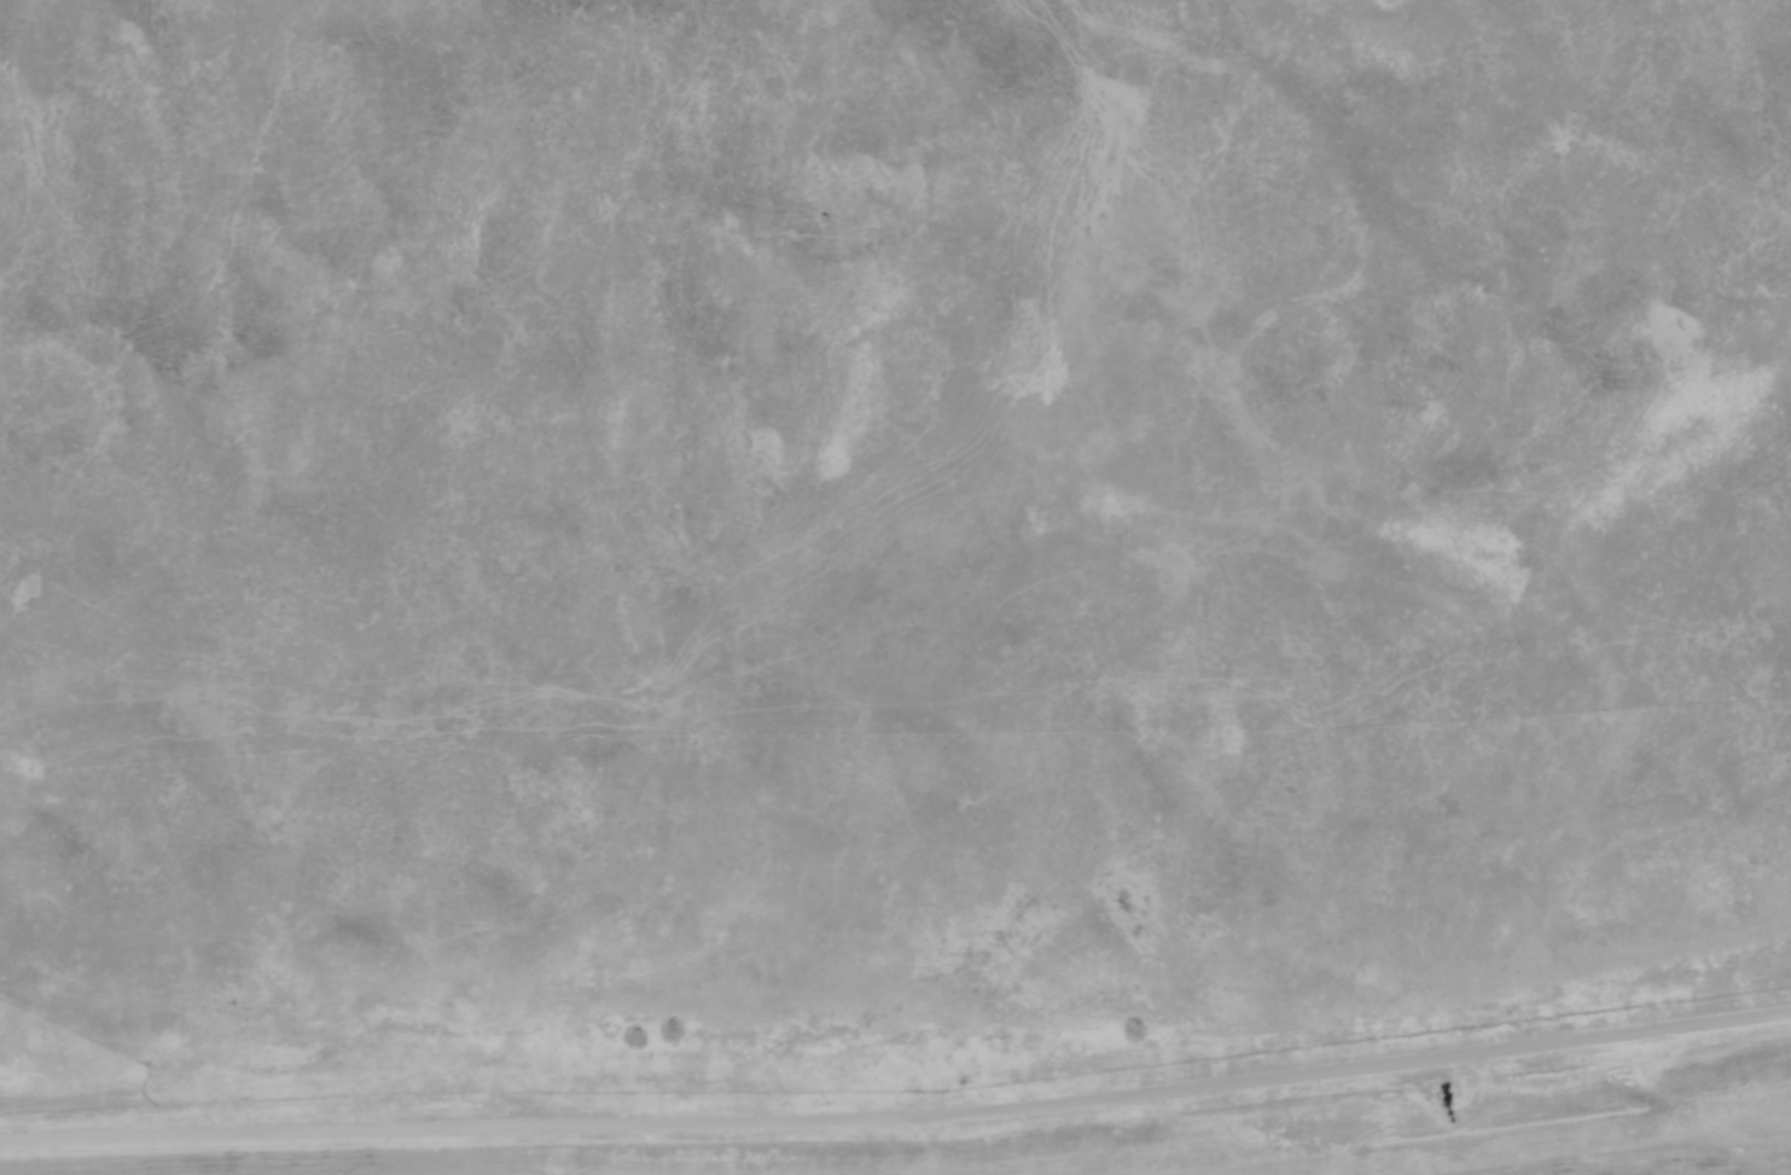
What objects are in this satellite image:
road: (897, 1112)

